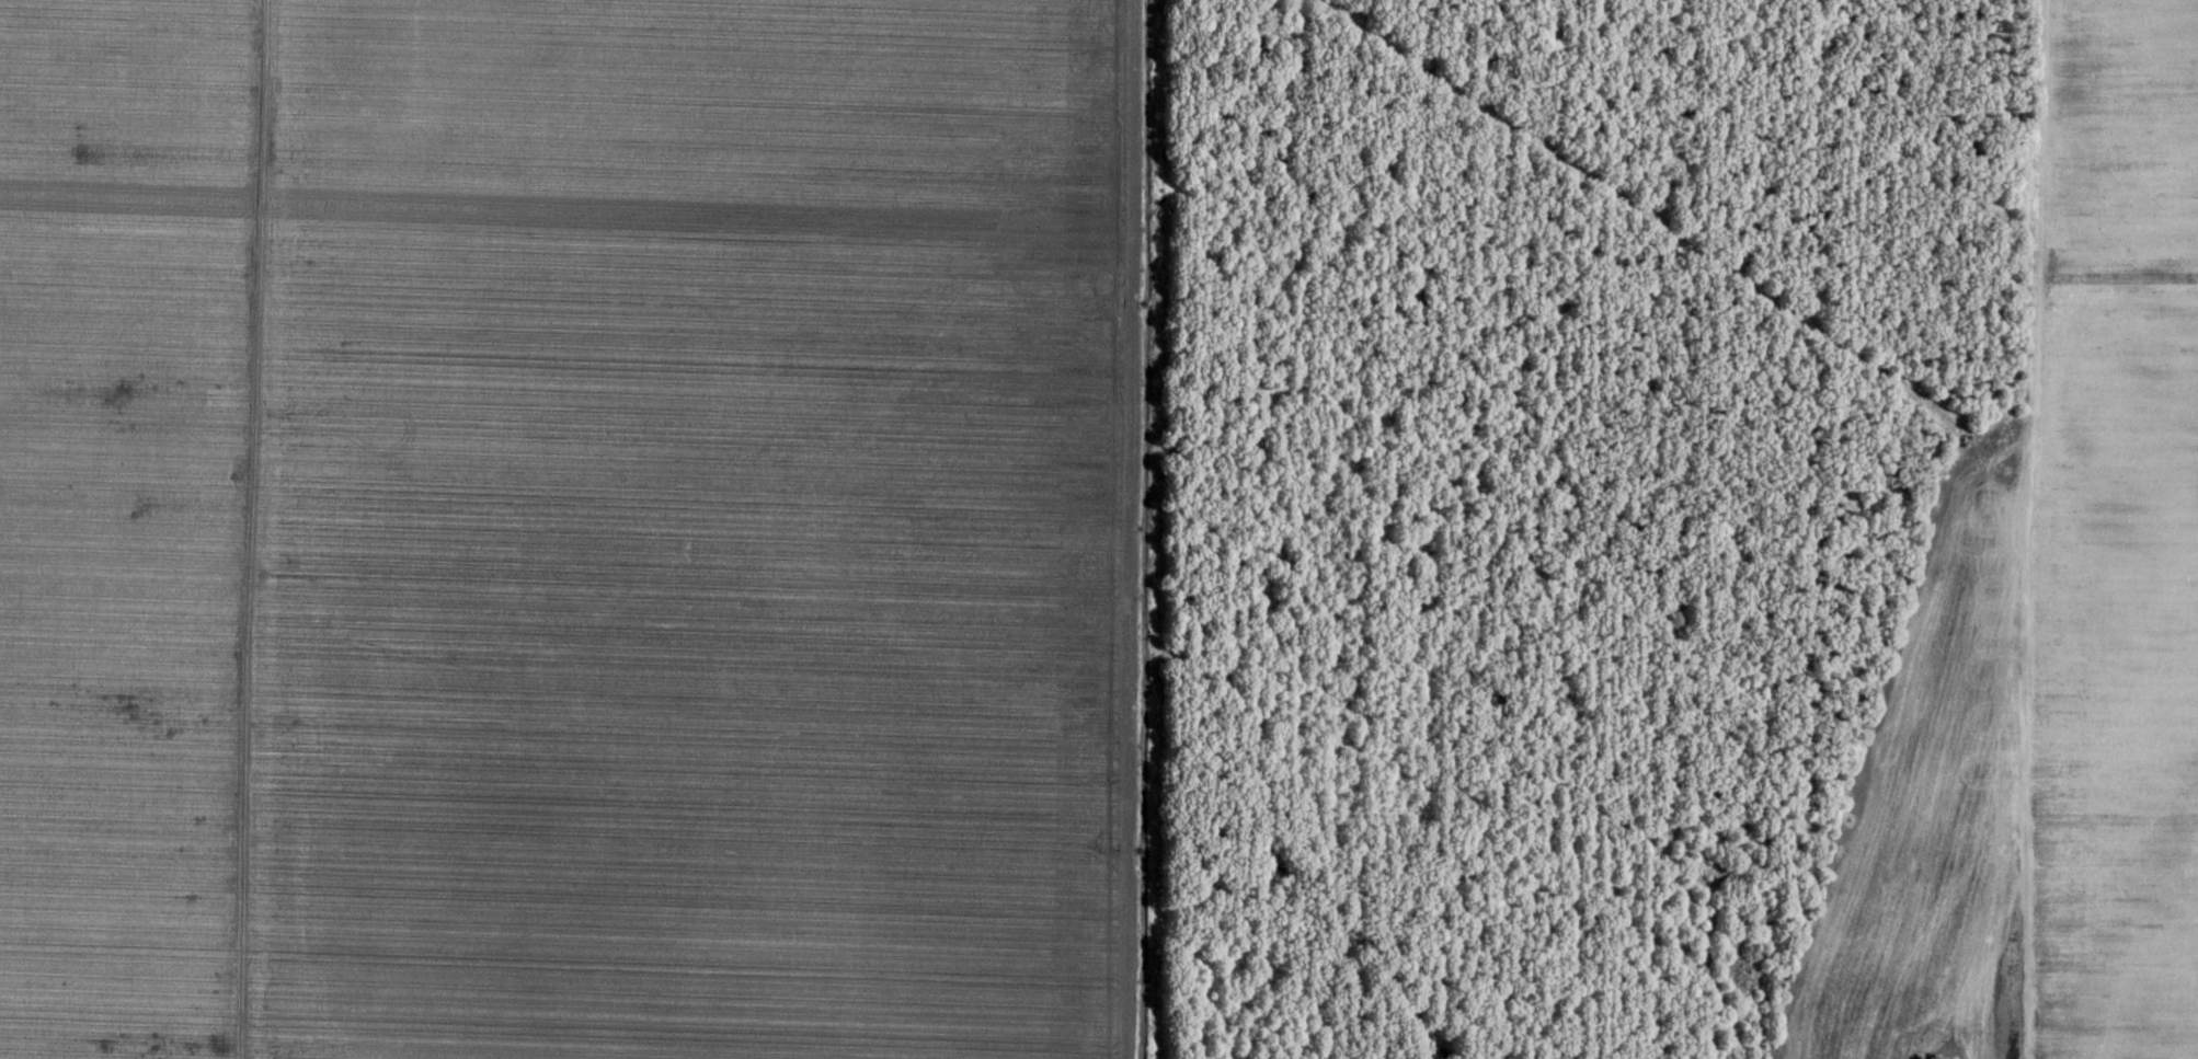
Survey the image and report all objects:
road: (2033, 529)

